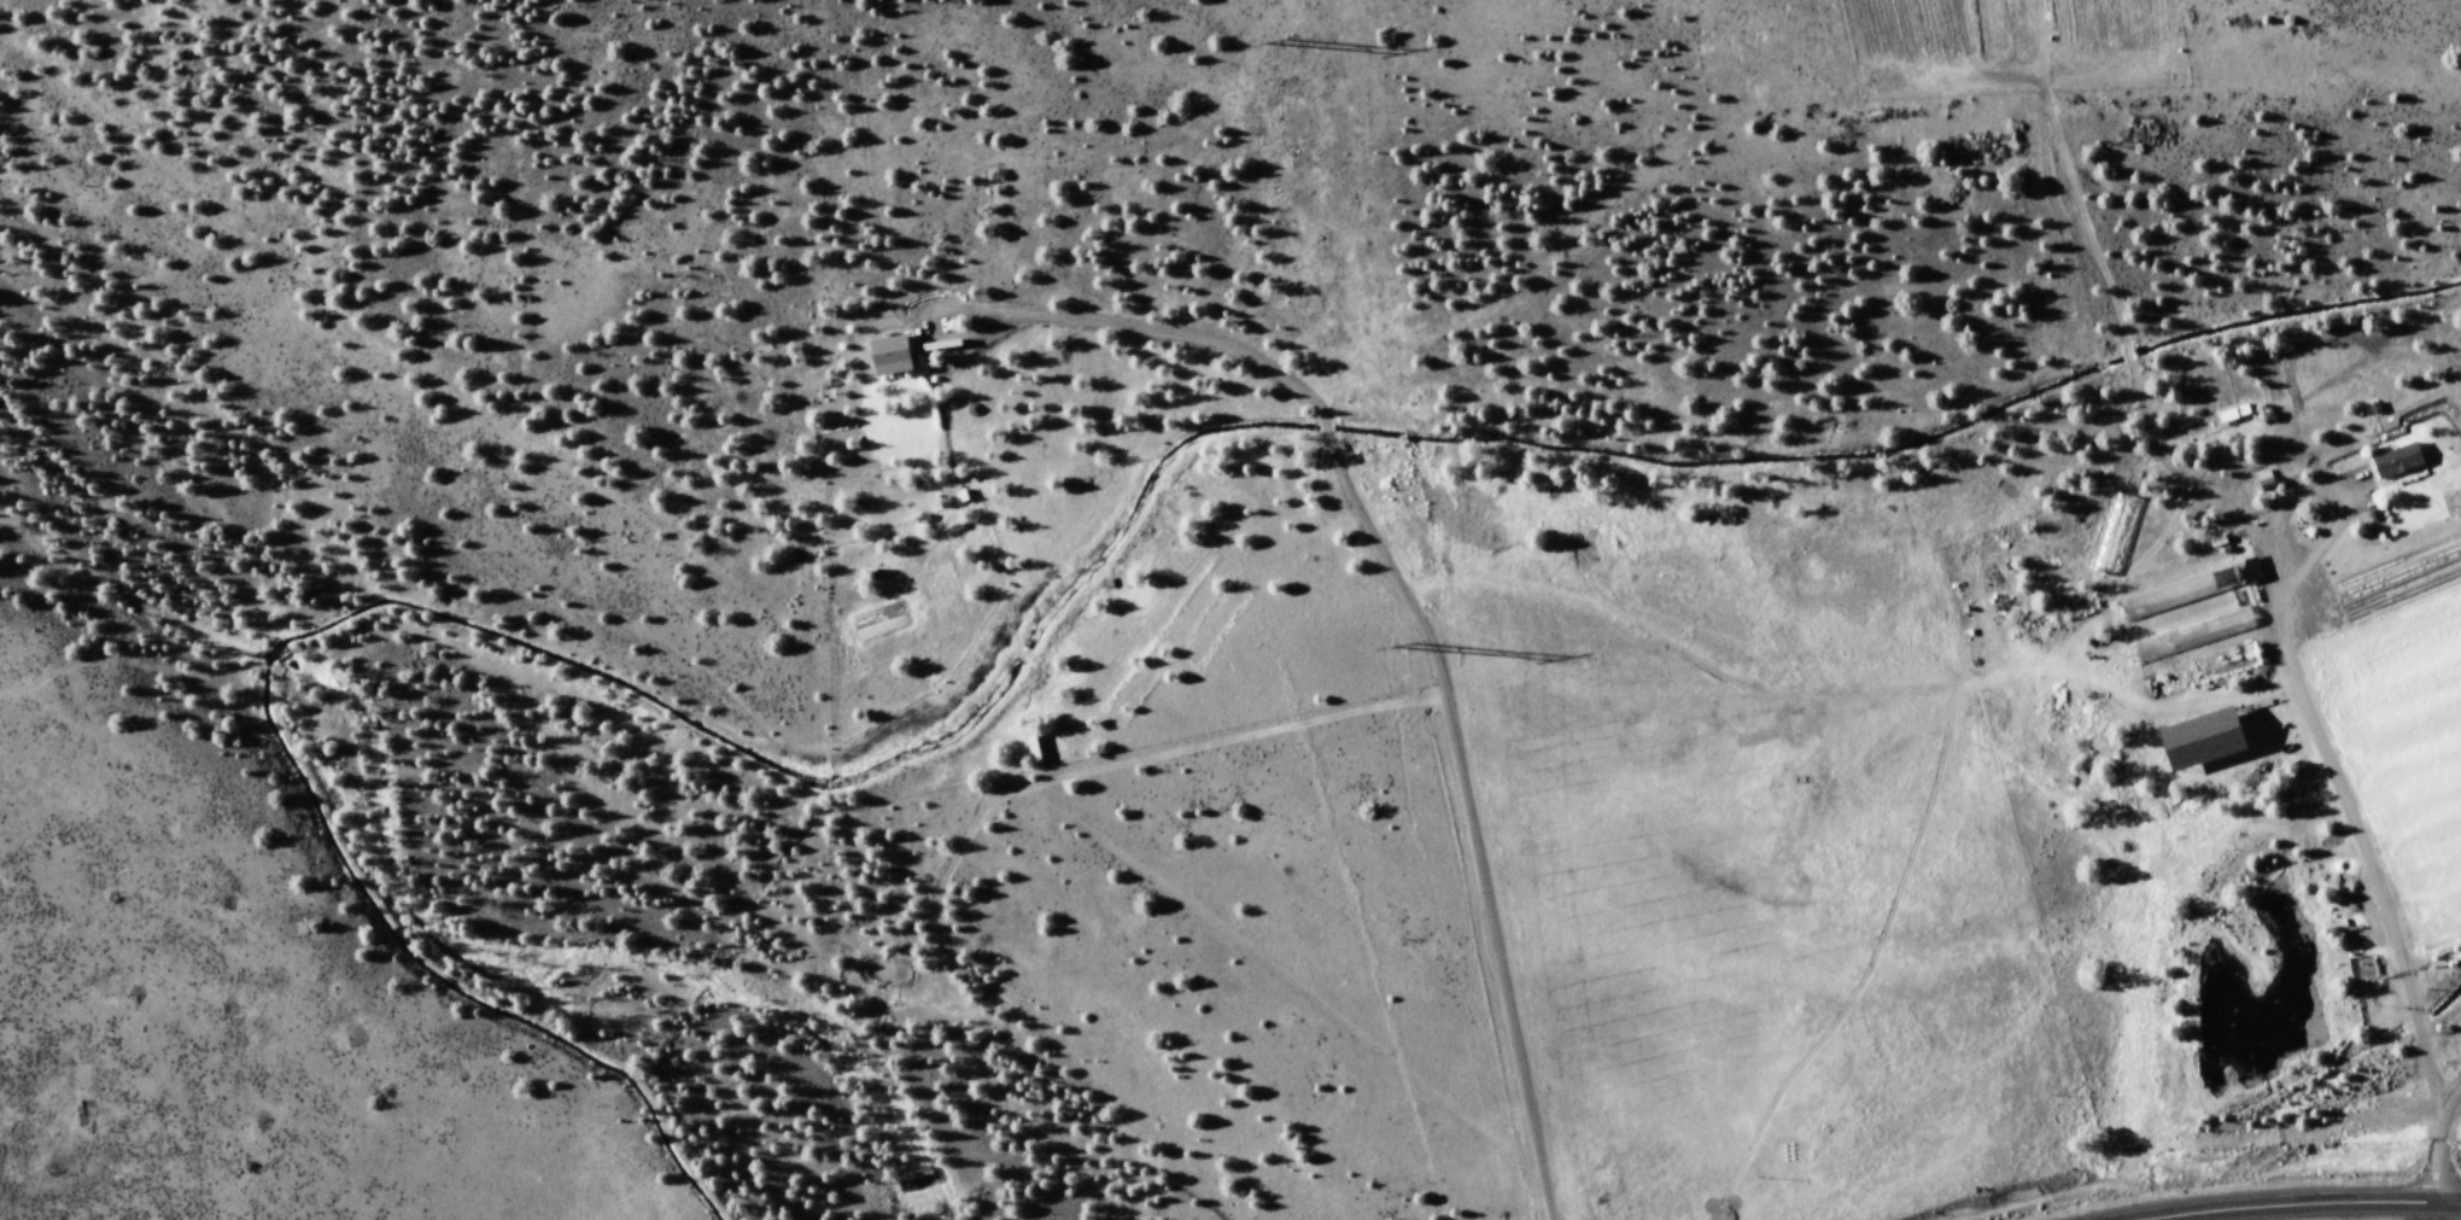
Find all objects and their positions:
power tower: (1284, 43)
building: (890, 356)
building: (2228, 416)
building: (2266, 480)
building: (2180, 594)
building: (2193, 636)
power tower: (1414, 650)
building: (2202, 741)
road: (2449, 1152)
road: (2331, 1207)

